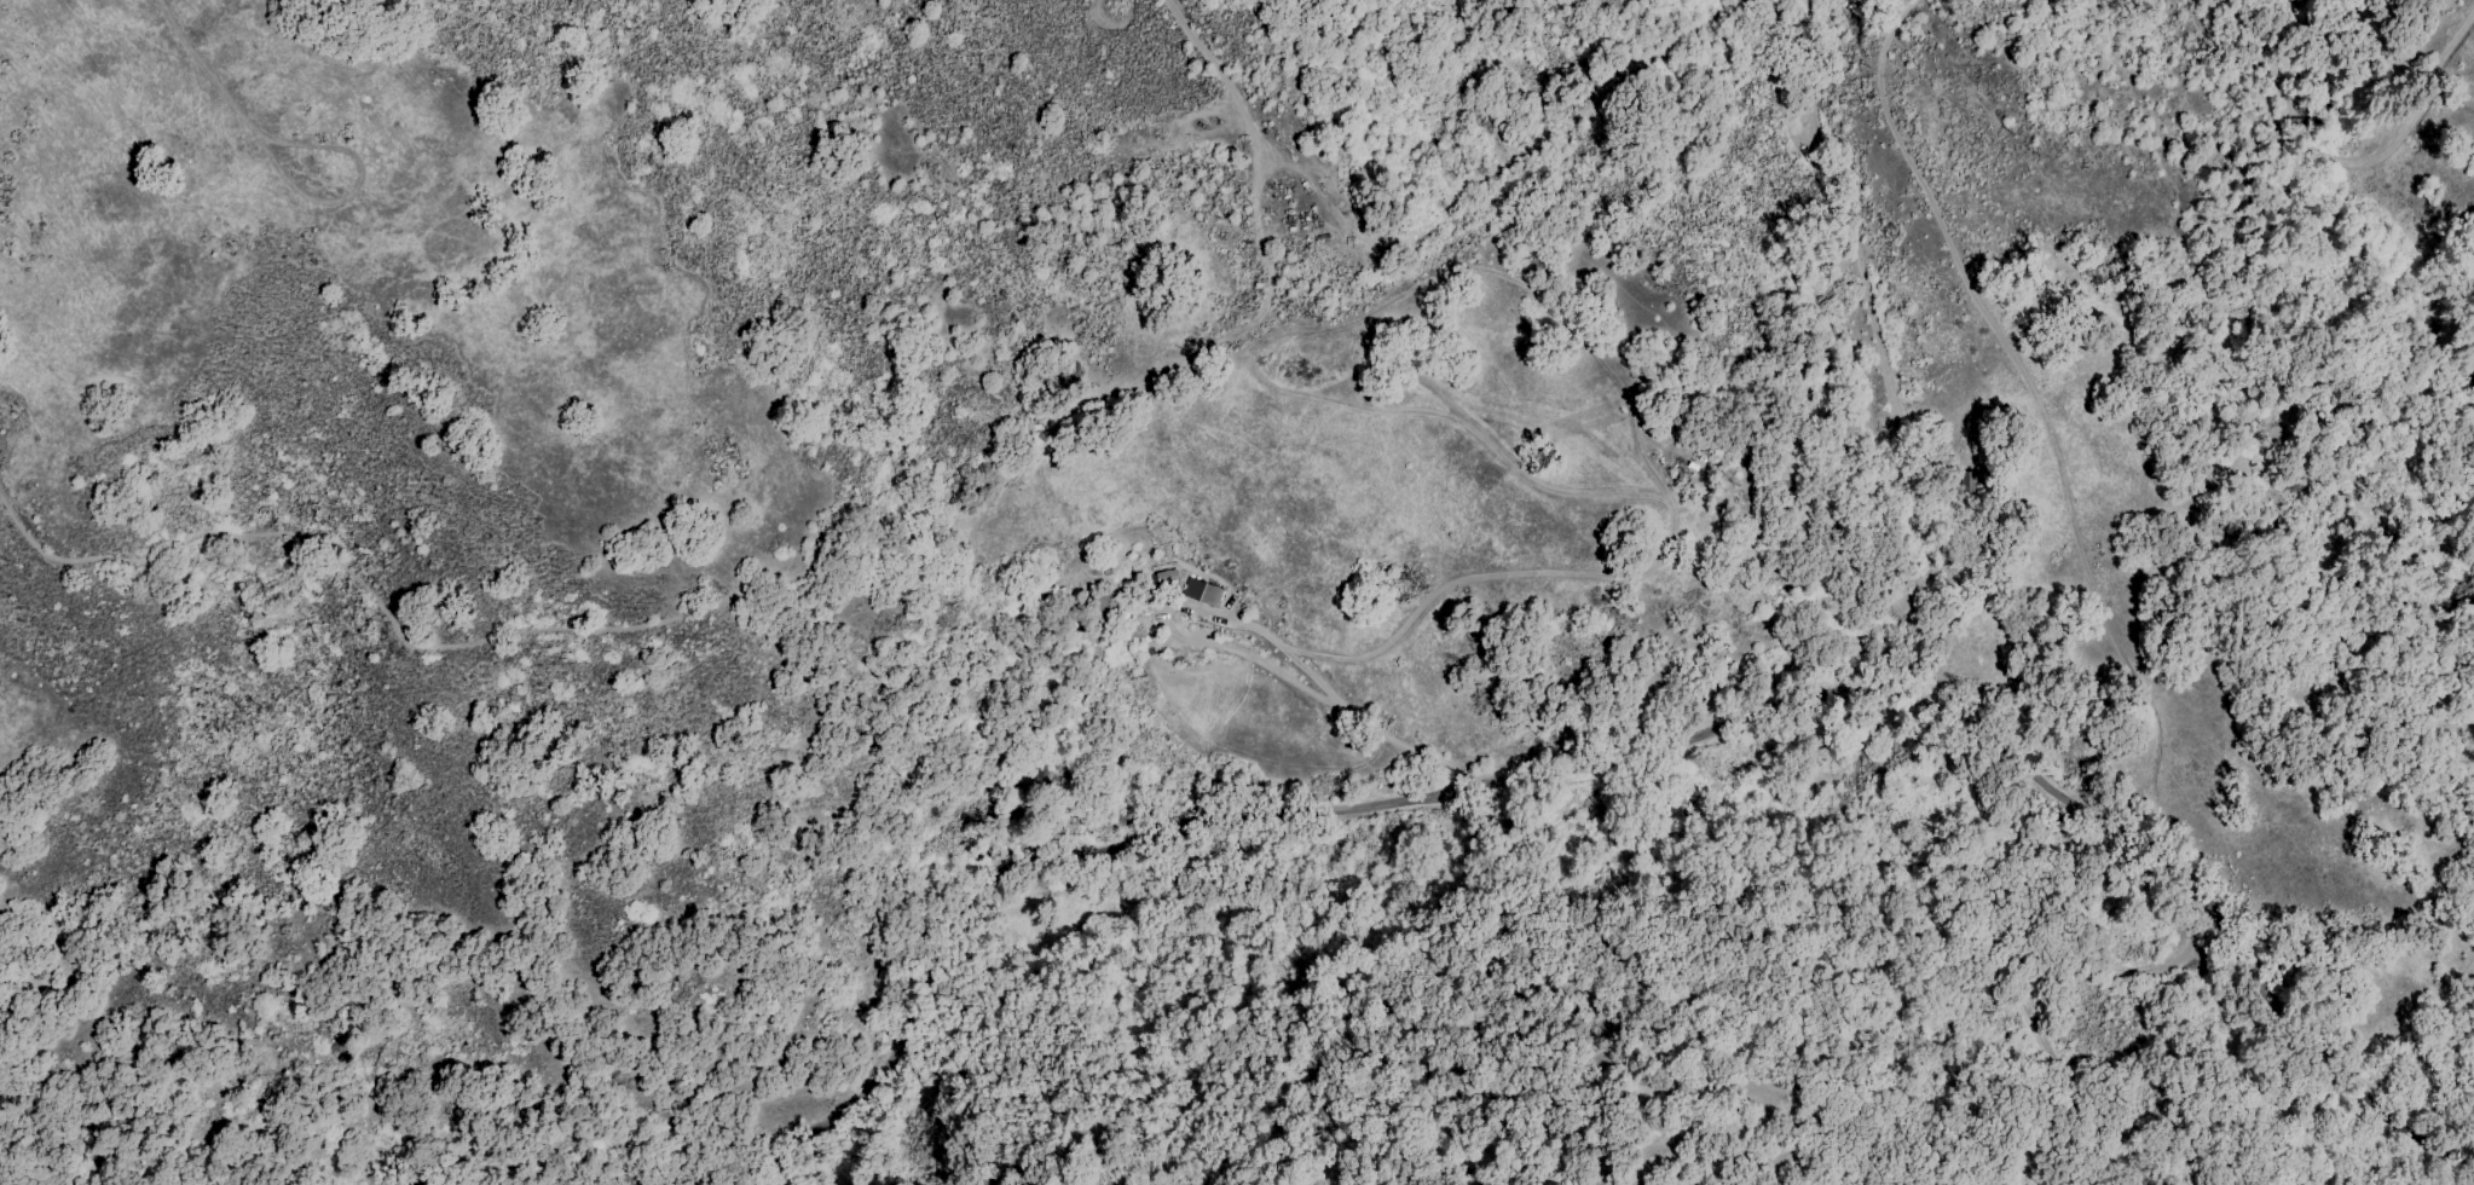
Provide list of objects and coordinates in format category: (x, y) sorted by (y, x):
road: (2342, 161)
road: (2037, 410)
building: (1202, 591)
road: (1233, 619)
road: (1643, 748)

